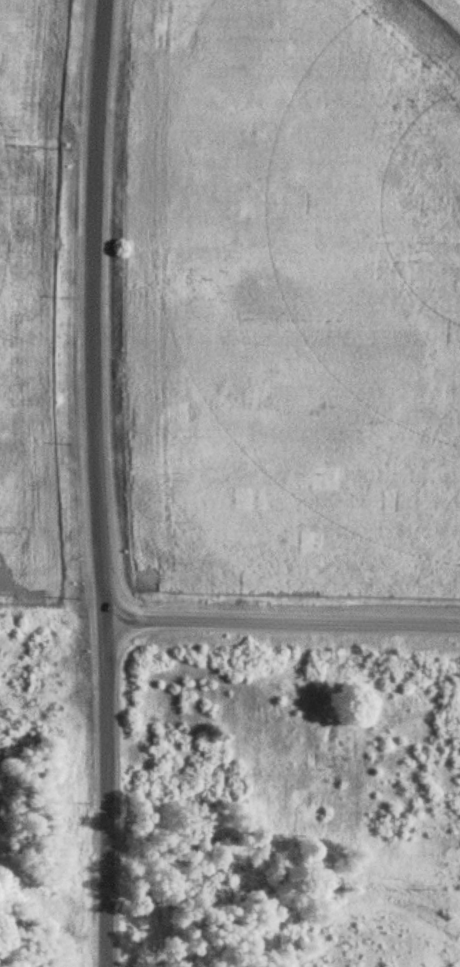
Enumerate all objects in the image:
road: (64, 53)
road: (103, 483)
road: (286, 619)

